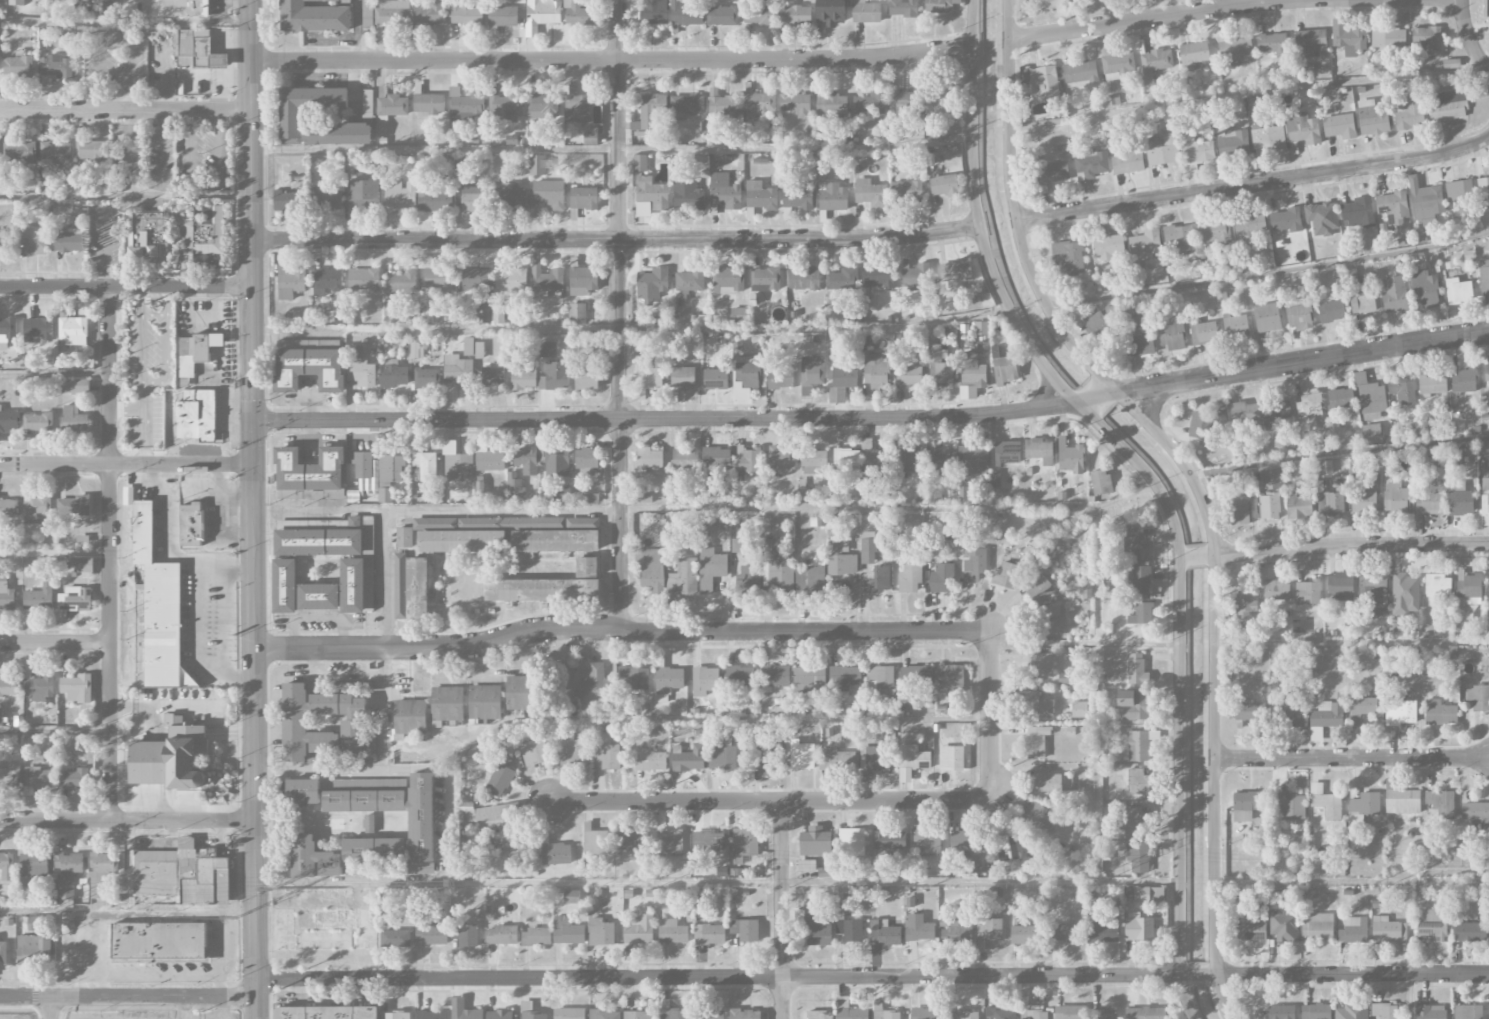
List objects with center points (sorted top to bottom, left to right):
building: (16, 2)
building: (939, 6)
building: (190, 7)
building: (903, 8)
building: (1486, 8)
building: (655, 11)
building: (367, 12)
building: (830, 12)
building: (866, 12)
building: (392, 13)
building: (579, 13)
building: (428, 14)
building: (686, 14)
building: (466, 15)
building: (541, 15)
building: (759, 15)
building: (795, 15)
building: (503, 16)
building: (723, 16)
building: (314, 17)
road: (1140, 20)
building: (1348, 38)
building: (1388, 38)
road: (1468, 38)
building: (1425, 40)
building: (1270, 42)
building: (1309, 42)
building: (175, 43)
building: (196, 50)
building: (1233, 51)
building: (1193, 54)
road: (611, 60)
building: (1116, 63)
building: (1155, 63)
building: (18, 65)
building: (56, 66)
building: (1079, 73)
building: (1043, 88)
building: (938, 101)
building: (906, 103)
building: (428, 104)
building: (760, 104)
building: (367, 105)
building: (392, 105)
building: (796, 105)
building: (869, 105)
building: (1448, 105)
building: (686, 106)
building: (466, 107)
building: (504, 107)
building: (542, 107)
building: (722, 108)
building: (832, 108)
road: (125, 109)
building: (306, 109)
building: (578, 109)
building: (650, 112)
building: (1409, 112)
building: (1372, 118)
building: (1339, 125)
building: (1303, 129)
building: (338, 134)
building: (532, 136)
building: (590, 139)
building: (1267, 140)
building: (1233, 143)
building: (91, 151)
building: (1162, 151)
building: (20, 152)
road: (160, 152)
building: (1197, 153)
building: (55, 154)
building: (1126, 162)
building: (640, 163)
building: (538, 165)
building: (1090, 165)
road: (131, 166)
building: (1053, 171)
road: (203, 182)
road: (1254, 183)
building: (1483, 186)
building: (907, 191)
building: (724, 192)
building: (549, 194)
building: (870, 194)
building: (510, 195)
building: (400, 196)
building: (435, 196)
building: (650, 196)
building: (688, 196)
building: (760, 196)
building: (1462, 196)
road: (66, 197)
building: (362, 197)
building: (798, 197)
building: (832, 197)
building: (471, 198)
building: (583, 198)
building: (325, 199)
building: (1425, 201)
building: (1392, 207)
building: (1357, 212)
building: (425, 217)
building: (1322, 217)
building: (1286, 220)
building: (1249, 225)
building: (1214, 232)
building: (150, 238)
building: (1182, 238)
building: (33, 240)
building: (4, 241)
building: (69, 241)
building: (206, 241)
road: (615, 241)
building: (1145, 244)
road: (106, 248)
building: (1109, 248)
building: (1069, 255)
building: (955, 272)
road: (1268, 272)
building: (916, 274)
building: (436, 277)
building: (878, 277)
building: (1350, 277)
building: (1484, 277)
building: (328, 279)
building: (364, 279)
building: (475, 279)
building: (547, 279)
building: (582, 279)
building: (765, 279)
building: (804, 279)
building: (843, 279)
building: (402, 281)
building: (511, 281)
building: (728, 281)
building: (290, 282)
building: (689, 283)
building: (652, 284)
road: (126, 287)
building: (1425, 287)
building: (1458, 291)
building: (1394, 294)
building: (1362, 302)
building: (1331, 311)
building: (478, 313)
building: (577, 314)
building: (1299, 314)
building: (497, 315)
road: (619, 315)
building: (739, 316)
building: (1267, 317)
building: (1236, 326)
building: (1096, 327)
road: (436, 328)
building: (8, 330)
building: (38, 330)
building: (981, 330)
building: (73, 331)
building: (1202, 332)
building: (1172, 336)
building: (1142, 342)
building: (641, 343)
building: (472, 348)
building: (547, 350)
building: (192, 354)
road: (1296, 362)
building: (1003, 367)
building: (360, 368)
building: (939, 368)
building: (309, 369)
building: (457, 370)
building: (972, 370)
building: (875, 371)
building: (747, 372)
building: (1486, 373)
building: (811, 374)
road: (54, 375)
building: (394, 375)
building: (555, 376)
building: (648, 376)
building: (909, 376)
building: (492, 377)
building: (523, 377)
building: (427, 378)
building: (683, 378)
building: (780, 378)
building: (715, 379)
building: (586, 380)
building: (1463, 381)
building: (842, 384)
building: (1432, 384)
building: (75, 386)
building: (1403, 390)
road: (1095, 396)
building: (1338, 400)
building: (1372, 401)
building: (1306, 403)
building: (1275, 414)
building: (196, 416)
building: (1244, 416)
road: (669, 418)
building: (73, 419)
building: (9, 421)
traffic signals: (251, 421)
building: (38, 422)
building: (1204, 424)
building: (1371, 433)
building: (1039, 451)
road: (1339, 451)
building: (1007, 452)
building: (872, 456)
building: (716, 457)
building: (1070, 457)
building: (782, 458)
building: (943, 458)
building: (648, 459)
building: (846, 459)
building: (526, 460)
building: (749, 460)
building: (909, 460)
building: (973, 460)
building: (1422, 460)
building: (490, 461)
building: (686, 461)
building: (814, 461)
building: (557, 462)
building: (587, 462)
building: (455, 463)
road: (126, 464)
building: (422, 464)
building: (391, 467)
building: (1326, 467)
building: (310, 470)
building: (364, 470)
building: (1271, 478)
road: (1195, 481)
building: (1099, 482)
road: (1155, 483)
building: (514, 485)
building: (286, 494)
building: (966, 494)
building: (385, 496)
building: (675, 496)
building: (590, 498)
building: (1395, 499)
building: (1485, 501)
building: (1330, 502)
building: (1363, 502)
building: (1460, 502)
building: (1428, 503)
building: (1298, 505)
building: (73, 507)
building: (1267, 507)
building: (8, 508)
road: (252, 509)
building: (36, 510)
road: (436, 512)
building: (1239, 512)
building: (191, 525)
building: (404, 537)
building: (321, 541)
building: (462, 541)
building: (1132, 542)
road: (1347, 543)
building: (869, 545)
building: (738, 546)
building: (840, 546)
building: (1034, 549)
road: (110, 554)
road: (1197, 556)
road: (1184, 557)
building: (973, 564)
building: (83, 565)
building: (842, 565)
building: (587, 567)
building: (651, 569)
building: (711, 569)
road: (225, 571)
building: (779, 574)
building: (1006, 575)
road: (197, 577)
building: (910, 577)
building: (1139, 578)
building: (683, 579)
building: (878, 579)
building: (942, 579)
road: (382, 580)
building: (749, 580)
building: (810, 581)
building: (284, 586)
building: (352, 586)
building: (399, 586)
building: (1274, 586)
building: (1340, 586)
building: (1037, 587)
building: (1437, 587)
building: (417, 588)
building: (1469, 588)
building: (542, 590)
building: (1307, 592)
building: (1404, 593)
building: (6, 595)
building: (369, 595)
building: (1373, 596)
building: (318, 597)
building: (38, 598)
building: (74, 599)
building: (1244, 604)
building: (159, 609)
building: (1140, 612)
building: (1054, 619)
building: (1298, 626)
road: (620, 630)
road: (55, 643)
building: (1040, 665)
building: (1136, 669)
road: (338, 674)
building: (776, 676)
building: (916, 676)
building: (739, 677)
building: (633, 678)
building: (670, 678)
building: (880, 678)
building: (1064, 678)
building: (951, 679)
building: (566, 680)
building: (809, 680)
building: (704, 681)
building: (843, 681)
building: (8, 685)
building: (596, 685)
building: (38, 688)
building: (359, 688)
building: (76, 689)
building: (521, 693)
building: (1478, 697)
building: (484, 702)
building: (447, 704)
building: (1132, 704)
building: (1038, 705)
building: (1363, 706)
road: (385, 709)
building: (1078, 709)
building: (1402, 710)
building: (1250, 711)
building: (1292, 711)
building: (1439, 712)
building: (1327, 714)
road: (989, 715)
building: (343, 717)
building: (410, 718)
building: (0, 719)
building: (302, 728)
building: (369, 741)
building: (1035, 742)
building: (1137, 744)
building: (570, 750)
building: (534, 753)
building: (801, 756)
building: (171, 757)
building: (608, 757)
road: (1351, 757)
building: (688, 758)
building: (722, 758)
building: (877, 758)
building: (913, 758)
building: (951, 758)
building: (836, 760)
building: (764, 761)
building: (650, 762)
road: (418, 769)
road: (320, 770)
building: (10, 775)
building: (39, 778)
building: (74, 779)
building: (499, 780)
building: (1045, 780)
building: (1137, 781)
building: (303, 792)
building: (1400, 799)
road: (768, 800)
building: (1326, 802)
building: (1362, 803)
building: (1438, 804)
building: (1246, 805)
building: (1290, 805)
building: (1476, 812)
building: (487, 818)
building: (1037, 818)
road: (127, 820)
building: (1132, 820)
road: (448, 822)
building: (368, 823)
building: (421, 823)
building: (890, 840)
building: (632, 841)
building: (745, 842)
building: (815, 842)
building: (851, 842)
building: (595, 843)
building: (670, 843)
building: (708, 843)
building: (928, 843)
building: (1004, 849)
building: (516, 851)
building: (963, 853)
building: (556, 854)
building: (1138, 856)
building: (33, 865)
building: (806, 866)
building: (359, 869)
building: (421, 869)
building: (580, 869)
building: (100, 871)
building: (67, 873)
building: (182, 875)
road: (354, 880)
power tower: (1397, 882)
power tower: (871, 884)
power tower: (1101, 884)
power tower: (1270, 884)
power tower: (461, 886)
power tower: (663, 887)
power tower: (274, 891)
building: (1148, 894)
building: (572, 897)
building: (1208, 900)
road: (781, 909)
road: (127, 911)
power tower: (46, 914)
power tower: (236, 918)
building: (848, 925)
building: (1432, 925)
building: (1318, 926)
building: (1138, 927)
building: (1284, 927)
building: (819, 928)
building: (918, 929)
building: (989, 929)
building: (1250, 929)
building: (1387, 929)
building: (639, 930)
building: (745, 930)
building: (1353, 930)
building: (1469, 931)
building: (567, 932)
building: (672, 932)
building: (1063, 932)
building: (1102, 932)
building: (884, 933)
building: (955, 933)
building: (602, 934)
building: (1022, 934)
building: (431, 935)
building: (468, 935)
building: (502, 935)
building: (710, 935)
building: (536, 937)
building: (395, 938)
building: (158, 941)
building: (30, 948)
building: (2, 956)
road: (1348, 973)
road: (1198, 974)
road: (722, 977)
road: (127, 996)
road: (183, 1007)
road: (219, 1007)
road: (50, 1008)
building: (463, 1010)
building: (850, 1010)
building: (1315, 1011)
building: (1352, 1011)
building: (1386, 1011)
building: (1467, 1011)
building: (530, 1012)
building: (883, 1012)
building: (1070, 1012)
building: (1281, 1012)
building: (1430, 1012)
building: (326, 1013)
building: (569, 1013)
building: (672, 1013)
building: (925, 1013)
building: (1000, 1013)
building: (1145, 1013)
building: (604, 1014)
building: (708, 1014)
building: (744, 1014)
building: (1038, 1014)
building: (1103, 1014)
building: (430, 1015)
building: (499, 1015)
building: (637, 1015)
building: (820, 1015)
building: (964, 1015)
building: (395, 1016)

